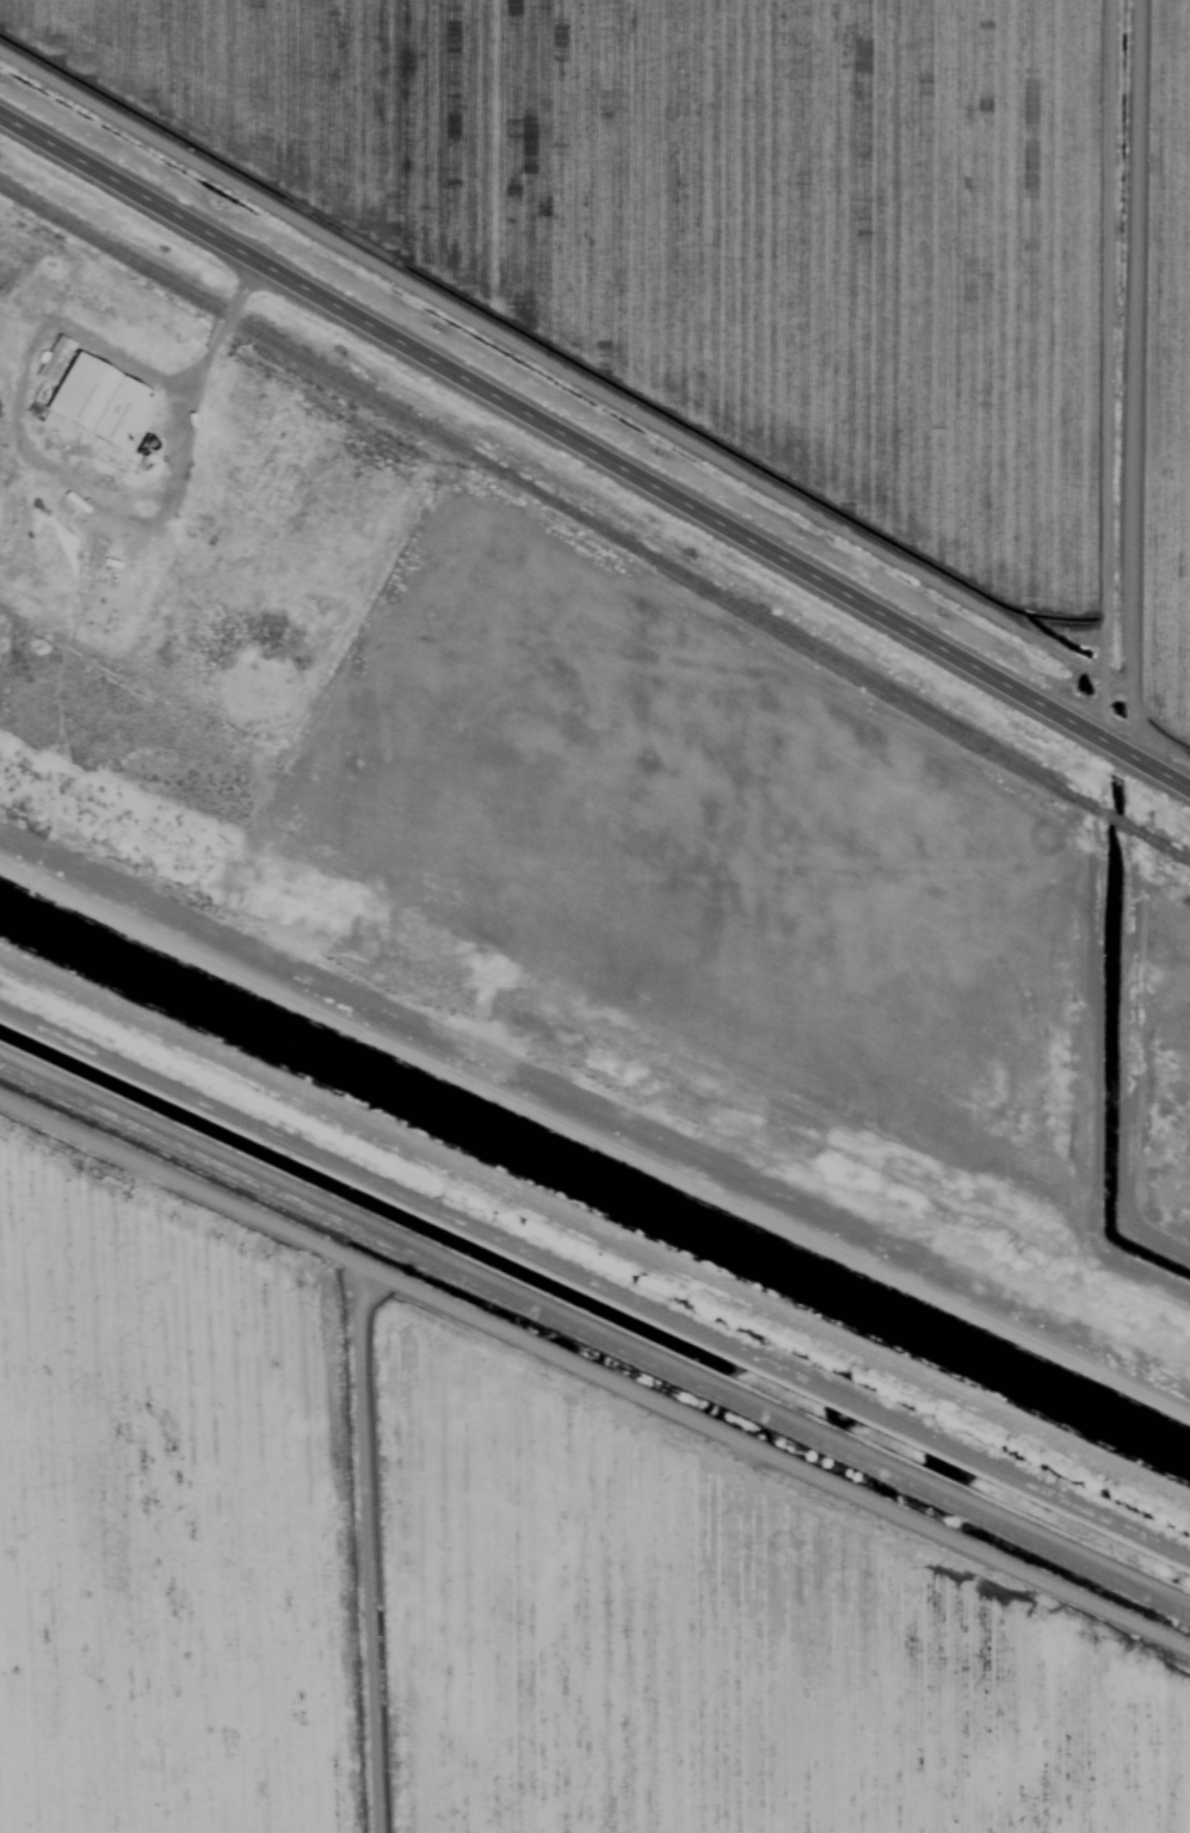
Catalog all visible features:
crop: (725, 252)
building: (54, 358)
crop: (1170, 394)
building: (100, 400)
road: (594, 451)
road: (73, 476)
railway: (594, 524)
road: (594, 1069)
road: (586, 1300)
road: (419, 1541)
crop: (471, 1586)

